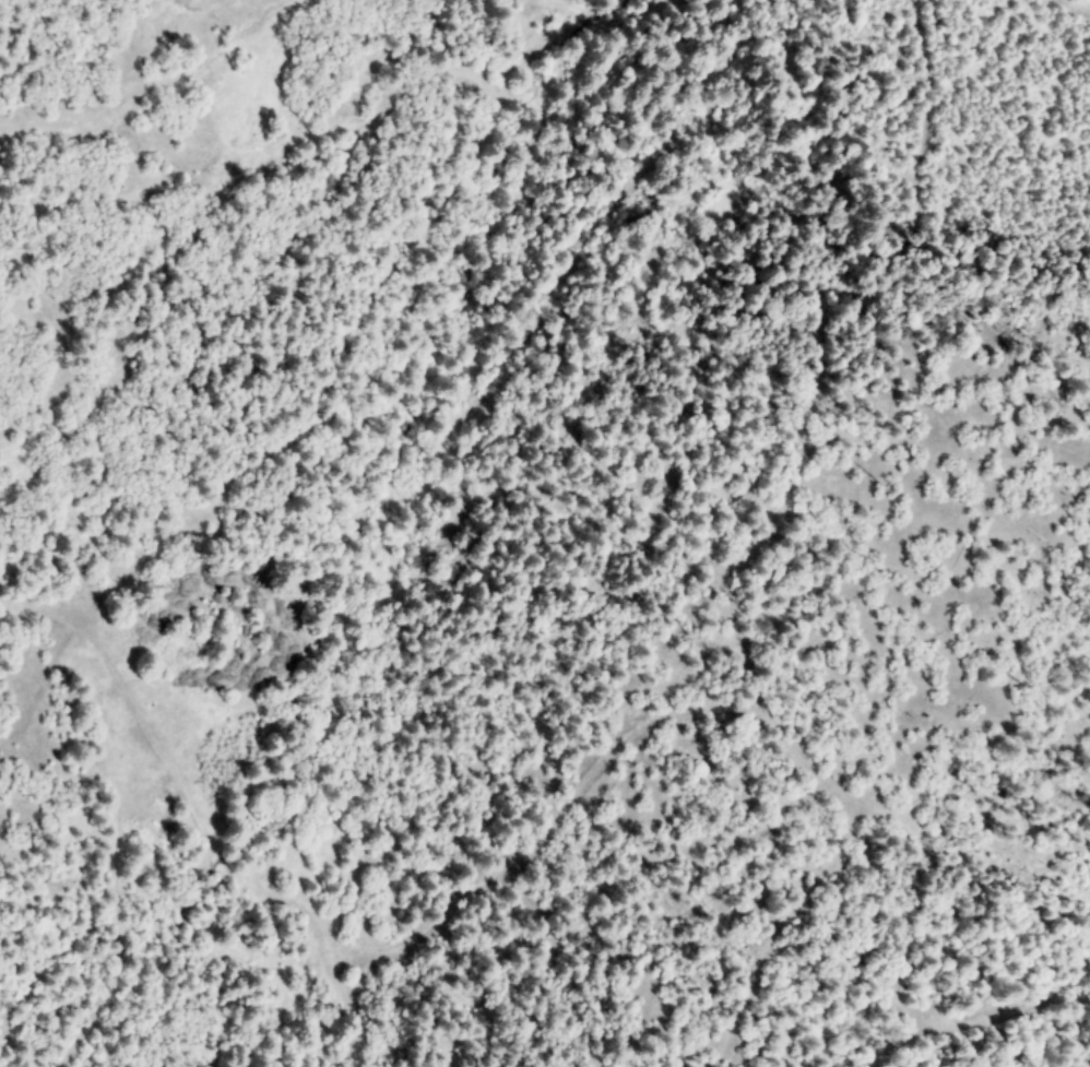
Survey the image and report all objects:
road: (321, 93)
road: (74, 959)

